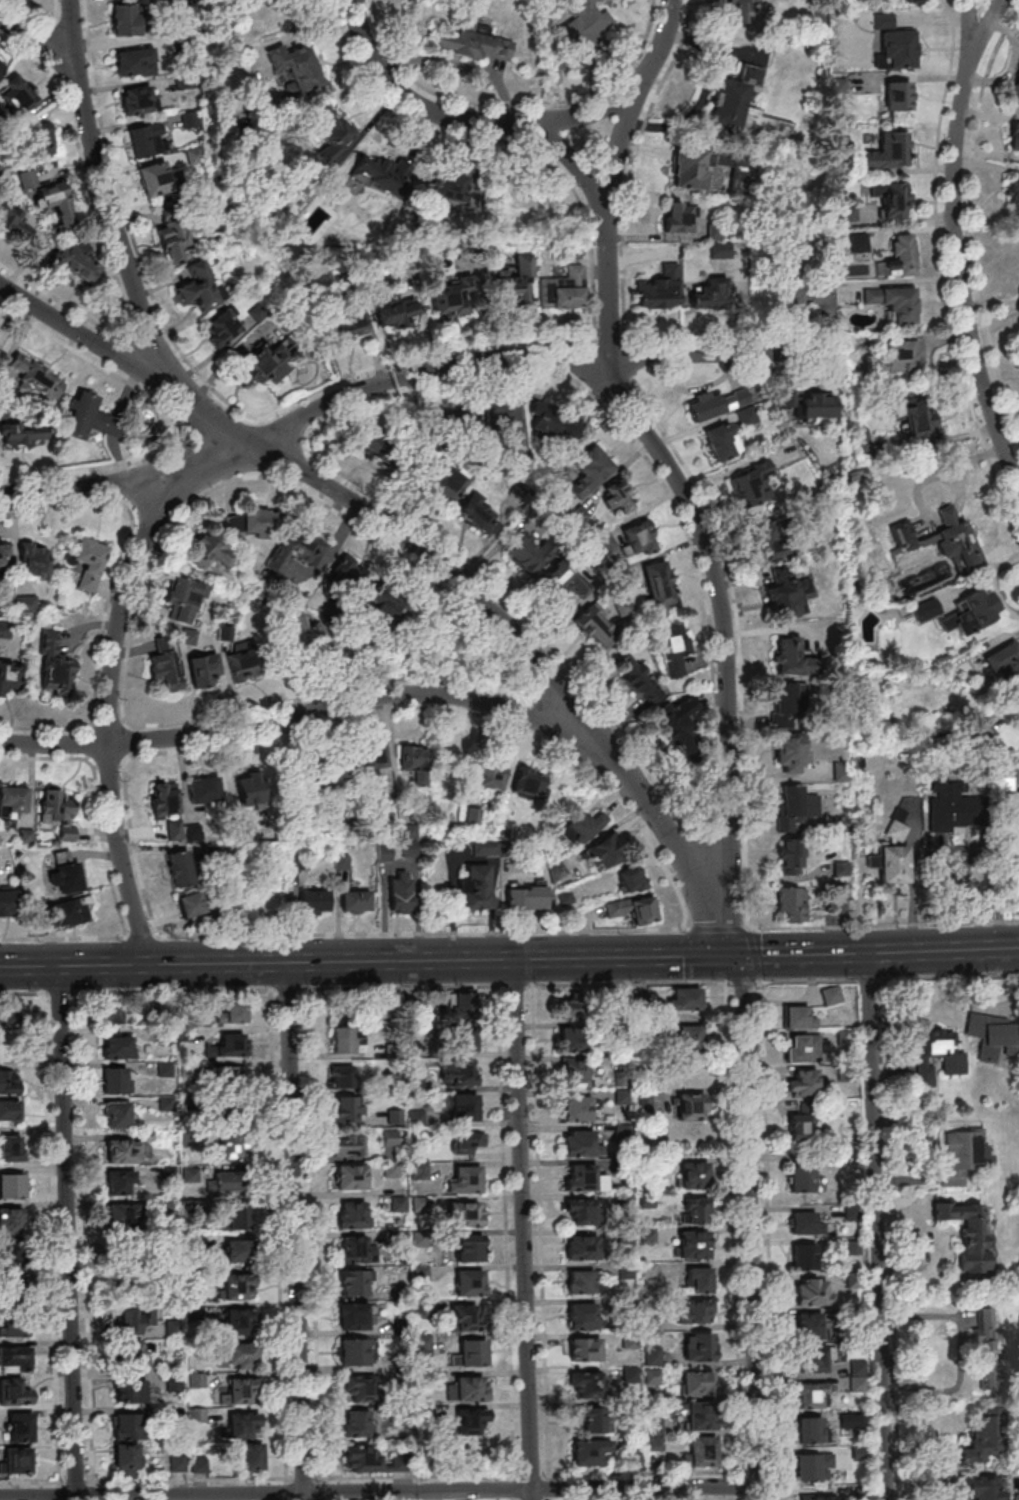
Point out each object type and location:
building: (912, 0)
building: (743, 5)
building: (125, 19)
building: (883, 20)
building: (585, 21)
road: (972, 31)
road: (72, 36)
road: (681, 43)
building: (474, 44)
road: (38, 45)
building: (896, 49)
building: (134, 62)
building: (2, 68)
building: (296, 68)
road: (646, 71)
building: (839, 85)
building: (1016, 87)
building: (18, 97)
building: (897, 97)
building: (139, 100)
road: (512, 102)
building: (744, 107)
road: (589, 113)
road: (477, 121)
building: (336, 133)
building: (1014, 138)
building: (148, 139)
building: (837, 139)
building: (41, 140)
road: (500, 140)
building: (888, 151)
building: (690, 169)
building: (377, 173)
building: (155, 179)
building: (448, 187)
building: (53, 196)
building: (1015, 197)
building: (891, 201)
road: (604, 210)
building: (849, 214)
building: (677, 217)
building: (15, 223)
building: (174, 234)
road: (117, 239)
building: (859, 244)
road: (954, 245)
building: (898, 260)
building: (76, 263)
road: (940, 271)
building: (517, 283)
building: (200, 288)
building: (564, 289)
building: (660, 289)
building: (707, 294)
building: (807, 294)
building: (453, 301)
building: (894, 304)
building: (394, 310)
building: (348, 325)
building: (222, 327)
building: (896, 359)
building: (263, 364)
building: (37, 376)
road: (405, 376)
building: (719, 404)
building: (818, 406)
building: (80, 416)
building: (504, 417)
building: (748, 418)
building: (912, 419)
building: (458, 423)
building: (551, 426)
building: (23, 432)
building: (386, 440)
building: (861, 441)
building: (722, 443)
building: (590, 470)
road: (669, 470)
building: (855, 476)
building: (445, 484)
building: (754, 485)
building: (620, 495)
building: (479, 516)
building: (249, 522)
building: (638, 538)
building: (902, 539)
road: (407, 541)
building: (772, 541)
building: (606, 542)
building: (956, 546)
building: (296, 549)
building: (211, 551)
building: (4, 554)
road: (724, 554)
building: (525, 555)
building: (34, 559)
building: (88, 561)
road: (697, 562)
building: (347, 573)
building: (658, 584)
building: (788, 594)
building: (184, 598)
building: (385, 603)
building: (926, 611)
building: (970, 615)
building: (593, 624)
building: (436, 634)
building: (673, 648)
building: (330, 655)
building: (793, 657)
building: (54, 664)
building: (243, 664)
building: (163, 665)
building: (1005, 668)
building: (203, 669)
building: (631, 673)
building: (10, 677)
building: (789, 698)
road: (321, 710)
road: (106, 711)
road: (367, 713)
building: (683, 721)
building: (984, 732)
building: (792, 752)
building: (417, 756)
building: (369, 761)
building: (338, 772)
building: (491, 777)
building: (530, 781)
building: (1005, 783)
building: (252, 787)
building: (206, 793)
building: (164, 799)
building: (13, 800)
road: (98, 804)
building: (795, 807)
building: (953, 810)
building: (57, 811)
building: (584, 825)
building: (1008, 825)
building: (175, 829)
building: (895, 832)
building: (604, 851)
building: (790, 856)
building: (297, 862)
building: (890, 866)
building: (180, 868)
building: (64, 874)
building: (629, 879)
building: (476, 888)
building: (400, 891)
building: (526, 898)
building: (354, 901)
road: (960, 901)
building: (313, 902)
building: (792, 903)
building: (7, 904)
building: (192, 904)
building: (633, 908)
building: (66, 912)
road: (509, 931)
road: (942, 951)
road: (753, 955)
road: (800, 955)
traffic signals: (735, 956)
road: (367, 959)
road: (738, 969)
road: (889, 978)
road: (741, 982)
road: (624, 984)
road: (514, 985)
road: (400, 986)
road: (286, 989)
road: (173, 990)
road: (24, 992)
road: (59, 992)
building: (830, 993)
building: (463, 1003)
building: (571, 1008)
building: (11, 1012)
building: (235, 1012)
building: (115, 1013)
building: (799, 1017)
building: (689, 1036)
building: (992, 1037)
building: (573, 1040)
building: (348, 1041)
building: (118, 1045)
building: (231, 1046)
building: (803, 1048)
building: (953, 1064)
building: (165, 1069)
building: (458, 1073)
building: (577, 1075)
building: (342, 1076)
building: (228, 1077)
building: (115, 1080)
building: (9, 1082)
building: (802, 1083)
building: (690, 1106)
building: (464, 1107)
building: (577, 1108)
building: (347, 1109)
building: (9, 1110)
building: (117, 1114)
building: (232, 1115)
building: (799, 1126)
building: (188, 1139)
building: (468, 1141)
building: (578, 1143)
building: (348, 1145)
building: (232, 1146)
building: (11, 1148)
building: (123, 1151)
building: (963, 1155)
building: (419, 1171)
building: (695, 1173)
building: (351, 1176)
building: (801, 1177)
building: (584, 1178)
building: (465, 1180)
building: (232, 1181)
building: (120, 1182)
building: (12, 1185)
building: (696, 1209)
building: (579, 1211)
building: (466, 1214)
building: (351, 1215)
building: (122, 1216)
building: (236, 1216)
building: (11, 1221)
building: (806, 1223)
road: (875, 1226)
road: (522, 1228)
road: (294, 1230)
road: (66, 1232)
building: (971, 1235)
road: (733, 1241)
road: (749, 1241)
building: (694, 1244)
building: (469, 1247)
building: (580, 1247)
building: (237, 1251)
building: (352, 1251)
building: (804, 1256)
building: (12, 1257)
building: (144, 1265)
building: (698, 1280)
building: (353, 1282)
building: (469, 1282)
building: (580, 1282)
building: (237, 1288)
building: (12, 1289)
building: (813, 1292)
building: (694, 1311)
building: (352, 1316)
building: (581, 1316)
building: (463, 1317)
building: (135, 1318)
building: (241, 1321)
building: (14, 1324)
building: (809, 1325)
building: (422, 1343)
building: (699, 1347)
building: (984, 1347)
building: (585, 1349)
building: (353, 1352)
building: (471, 1353)
building: (238, 1354)
building: (134, 1355)
building: (16, 1357)
building: (812, 1359)
building: (774, 1375)
building: (698, 1382)
building: (174, 1383)
building: (586, 1385)
building: (359, 1388)
building: (471, 1388)
building: (132, 1391)
building: (241, 1391)
building: (14, 1392)
building: (814, 1395)
building: (700, 1417)
building: (470, 1420)
building: (587, 1420)
building: (356, 1423)
building: (243, 1425)
building: (656, 1425)
building: (20, 1426)
building: (126, 1426)
building: (814, 1430)
building: (983, 1432)
building: (589, 1451)
building: (703, 1451)
building: (252, 1456)
building: (363, 1458)
building: (128, 1460)
building: (15, 1462)
building: (811, 1468)
building: (981, 1487)
building: (710, 1489)
building: (600, 1491)
road: (378, 1492)
building: (817, 1499)

